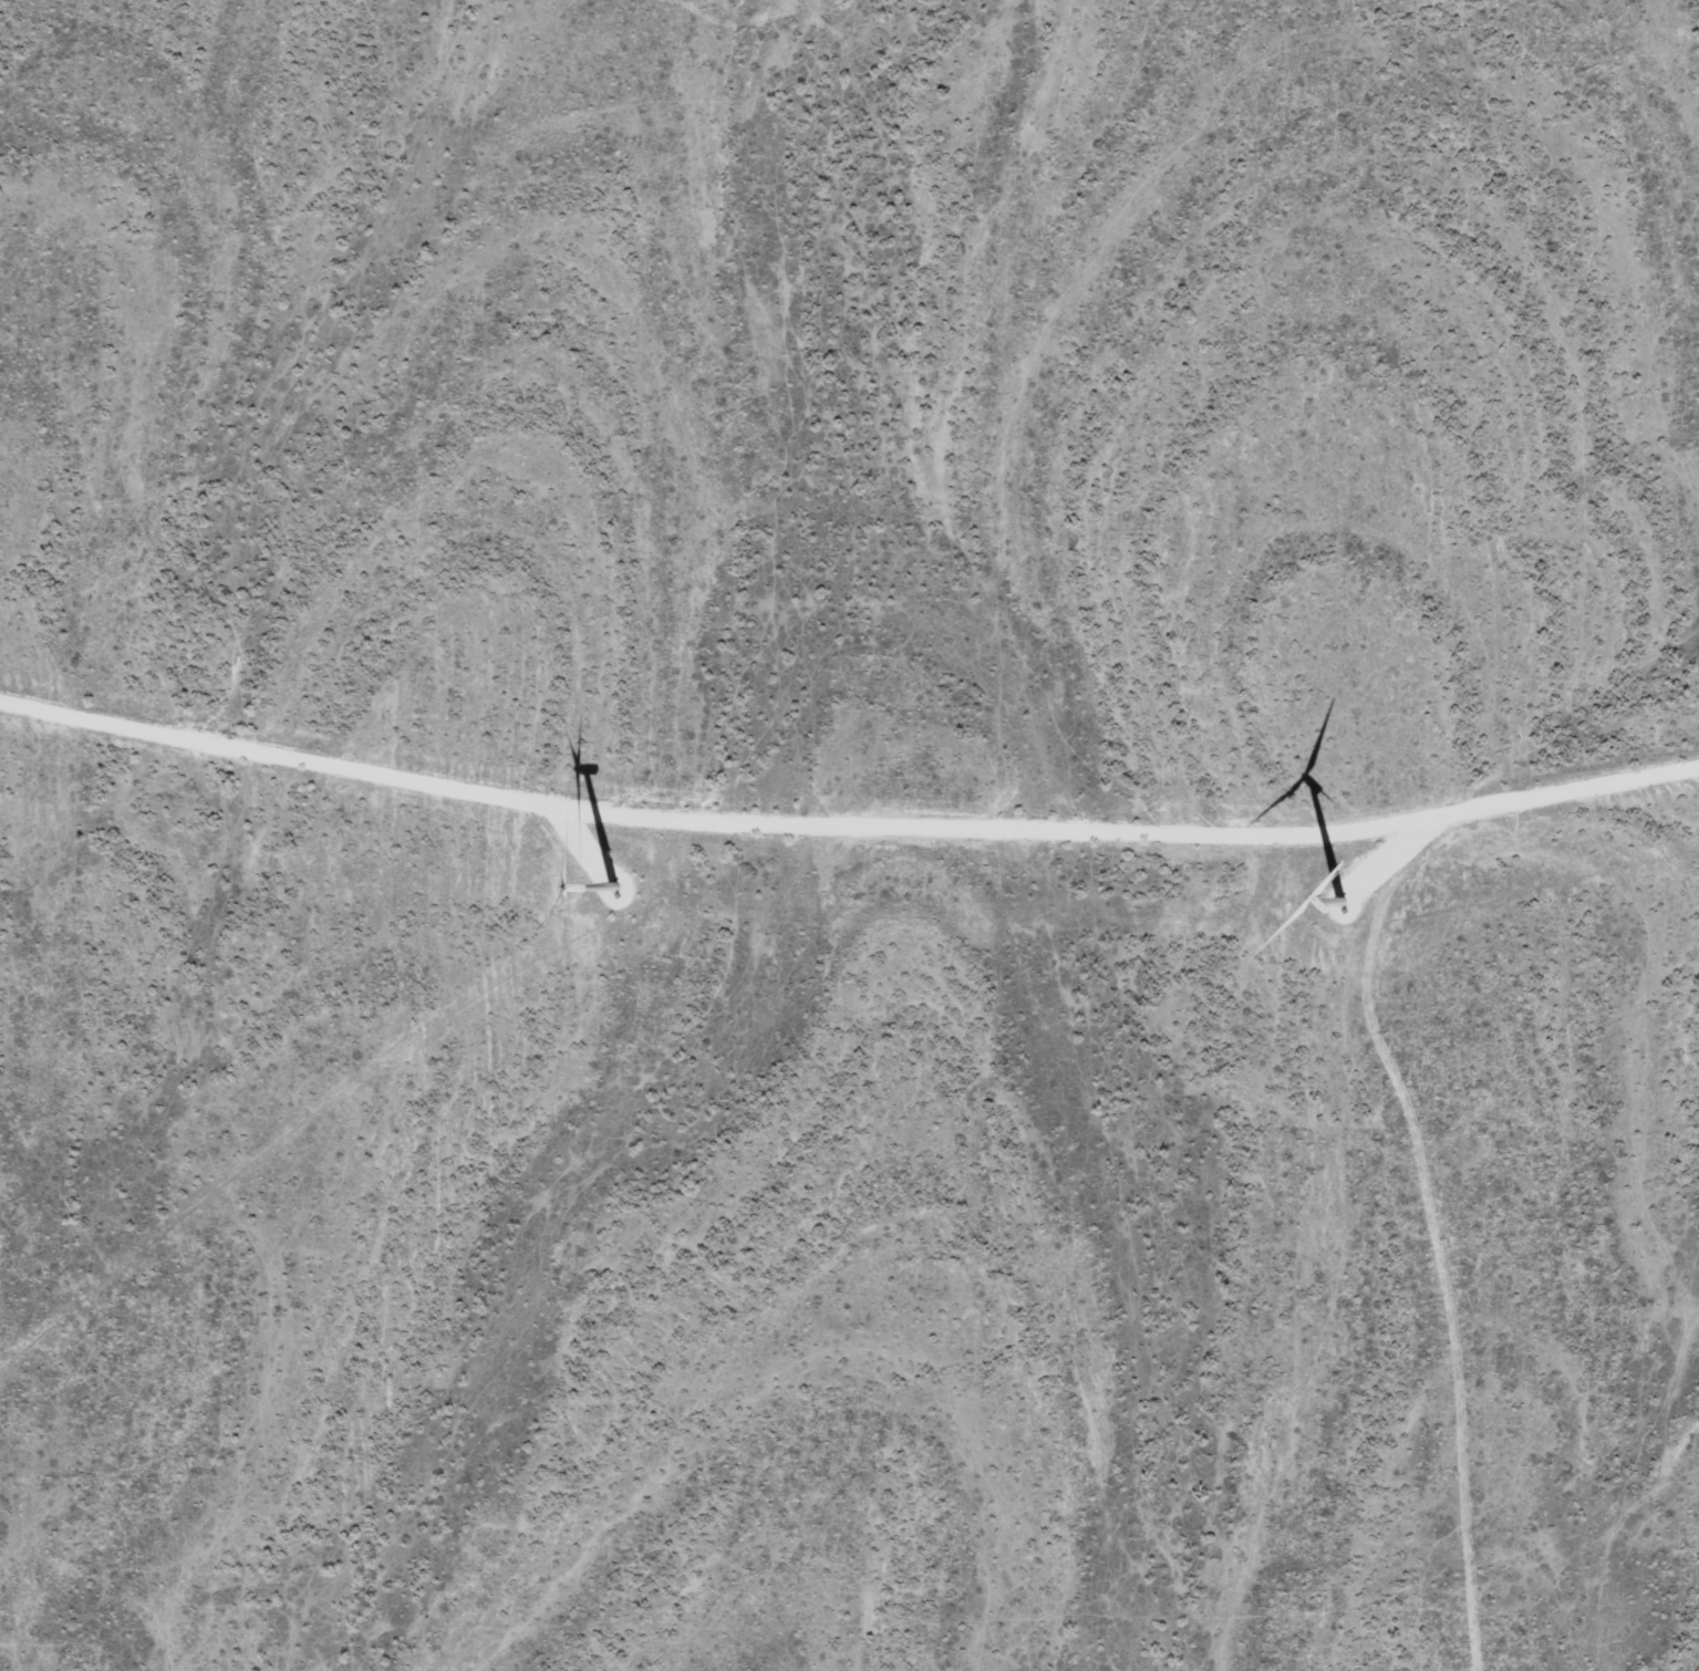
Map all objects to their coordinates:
road: (847, 828)
wind turbine: (613, 886)
wind turbine: (1327, 906)

